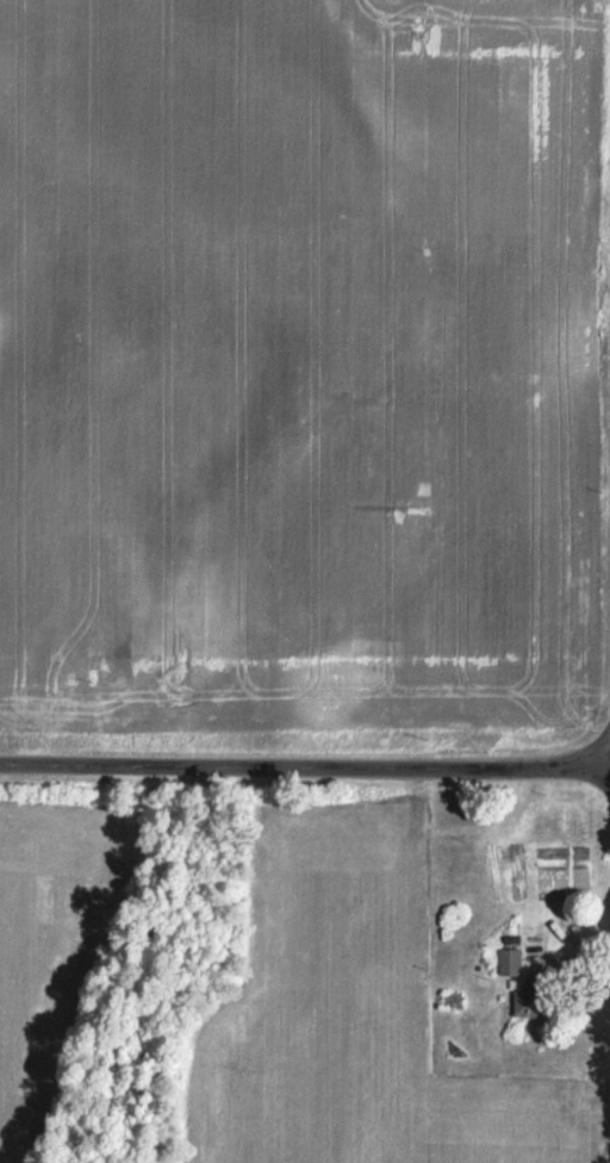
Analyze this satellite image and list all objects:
road: (305, 763)
building: (508, 960)
building: (528, 997)

